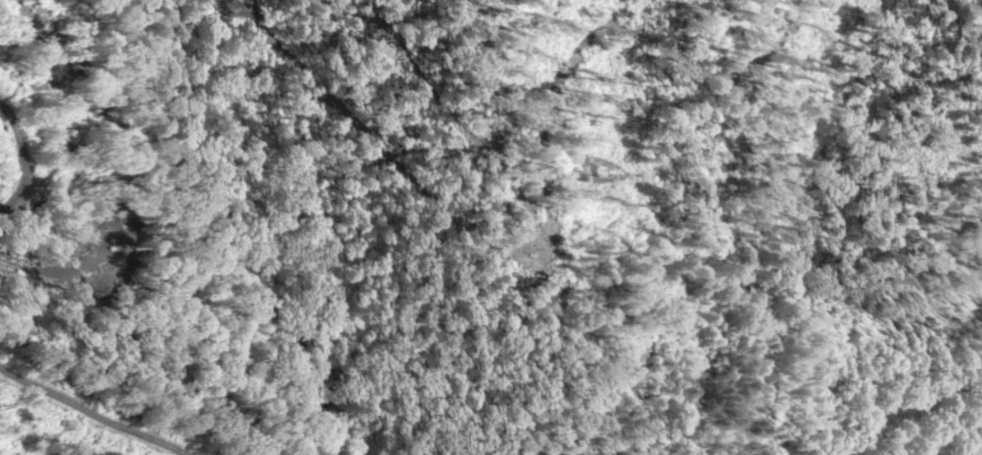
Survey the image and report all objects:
road: (17, 175)
road: (98, 408)

